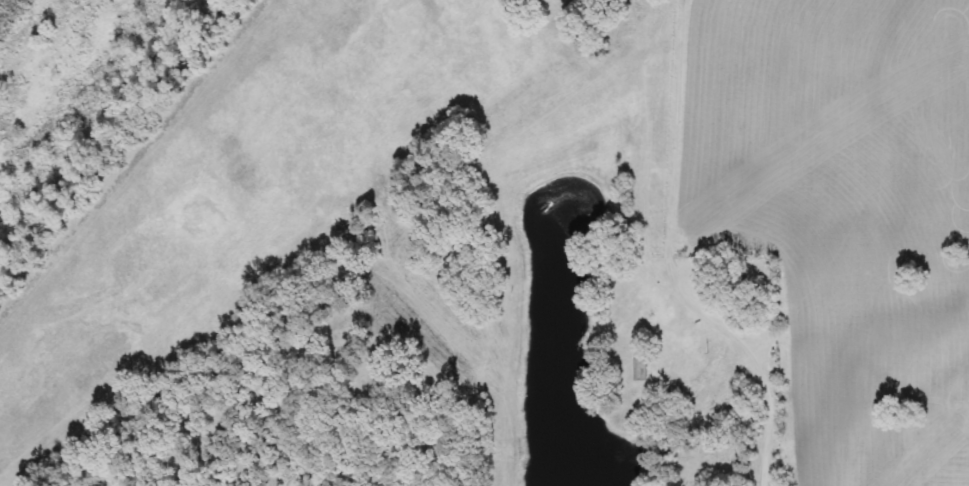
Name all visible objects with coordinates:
building: (638, 370)

